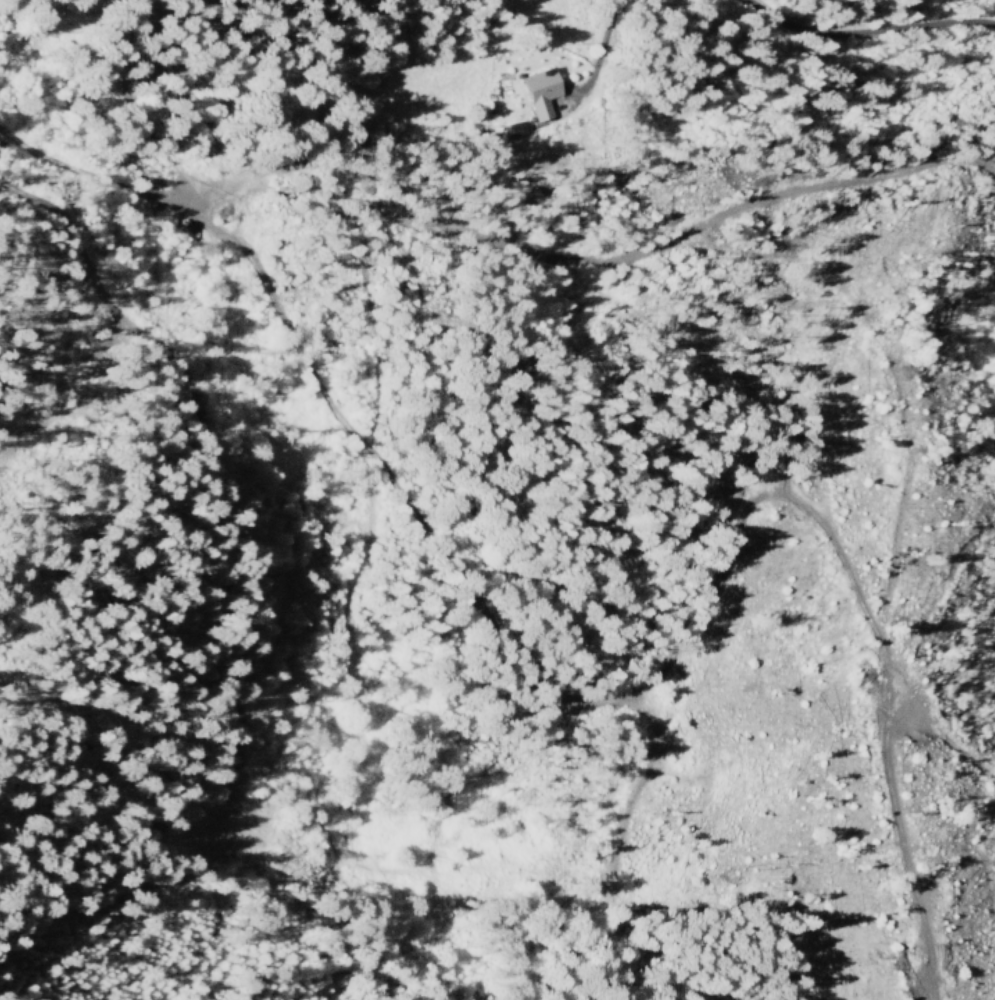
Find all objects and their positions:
building: (533, 91)

